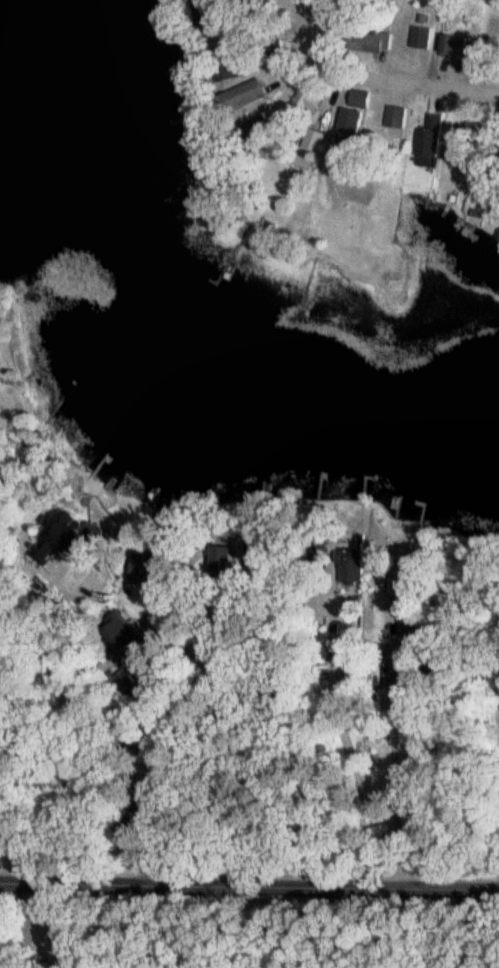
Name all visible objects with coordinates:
building: (201, 10)
building: (422, 38)
building: (456, 46)
road: (395, 82)
building: (252, 93)
building: (363, 98)
building: (398, 117)
building: (353, 127)
building: (431, 138)
building: (355, 564)
building: (410, 609)
building: (110, 635)
building: (406, 695)
road: (249, 880)

